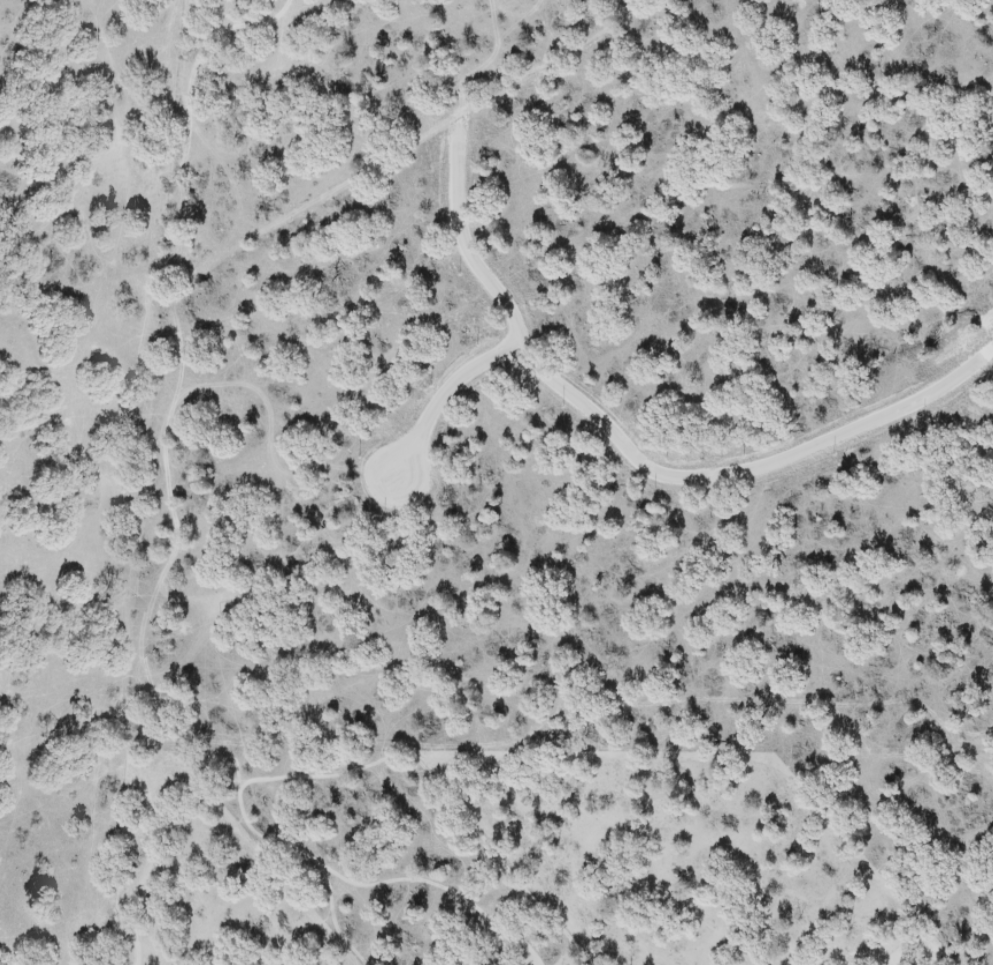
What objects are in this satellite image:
road: (71, 160)
road: (152, 374)
road: (126, 857)

